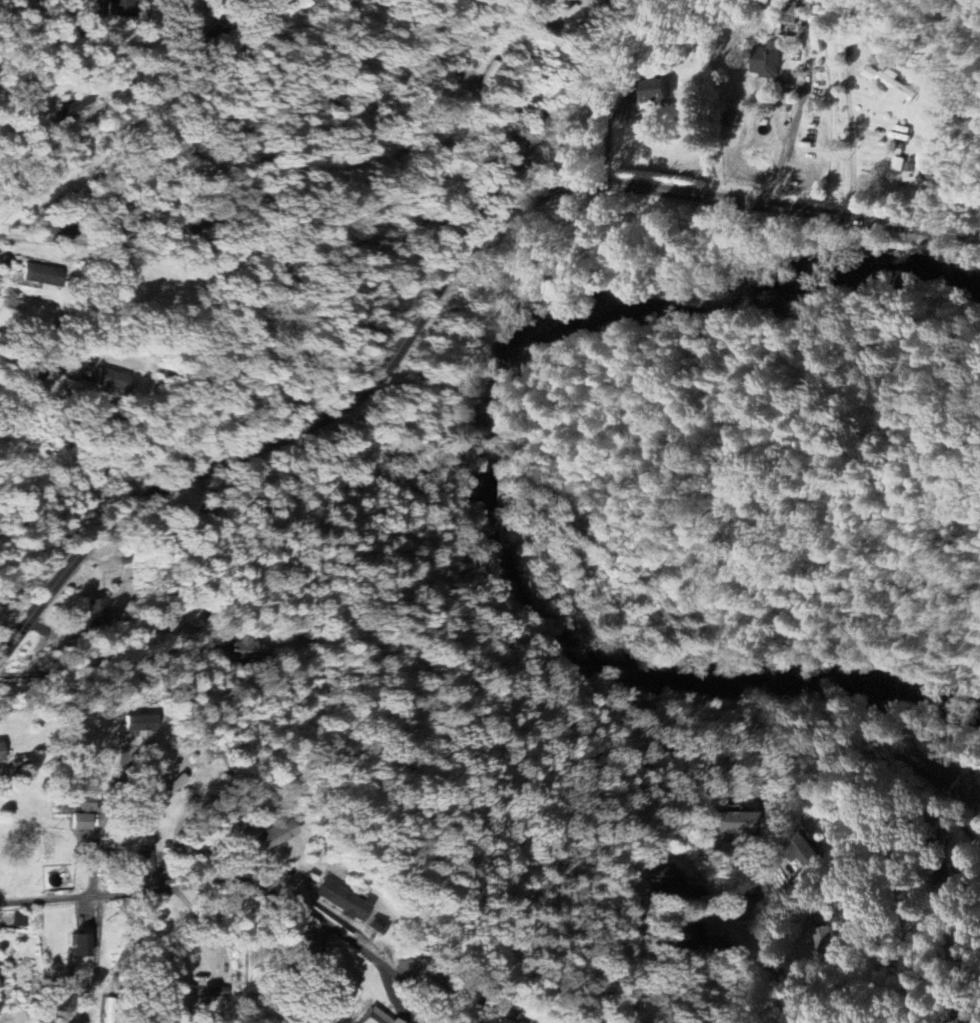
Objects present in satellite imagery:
building: (120, 7)
building: (767, 62)
road: (606, 71)
building: (871, 72)
building: (897, 87)
building: (655, 92)
building: (72, 113)
building: (556, 118)
road: (789, 127)
road: (847, 136)
road: (44, 188)
building: (43, 272)
road: (432, 287)
building: (114, 380)
river: (486, 478)
building: (99, 612)
building: (245, 648)
road: (92, 658)
building: (875, 686)
building: (142, 723)
building: (2, 752)
building: (947, 771)
building: (81, 802)
building: (728, 825)
road: (101, 829)
building: (278, 829)
building: (805, 850)
building: (146, 863)
building: (662, 882)
road: (252, 883)
building: (342, 900)
building: (20, 920)
building: (689, 936)
building: (827, 940)
building: (81, 945)
building: (312, 945)
road: (773, 956)
building: (109, 1010)
road: (722, 1011)
building: (375, 1017)

